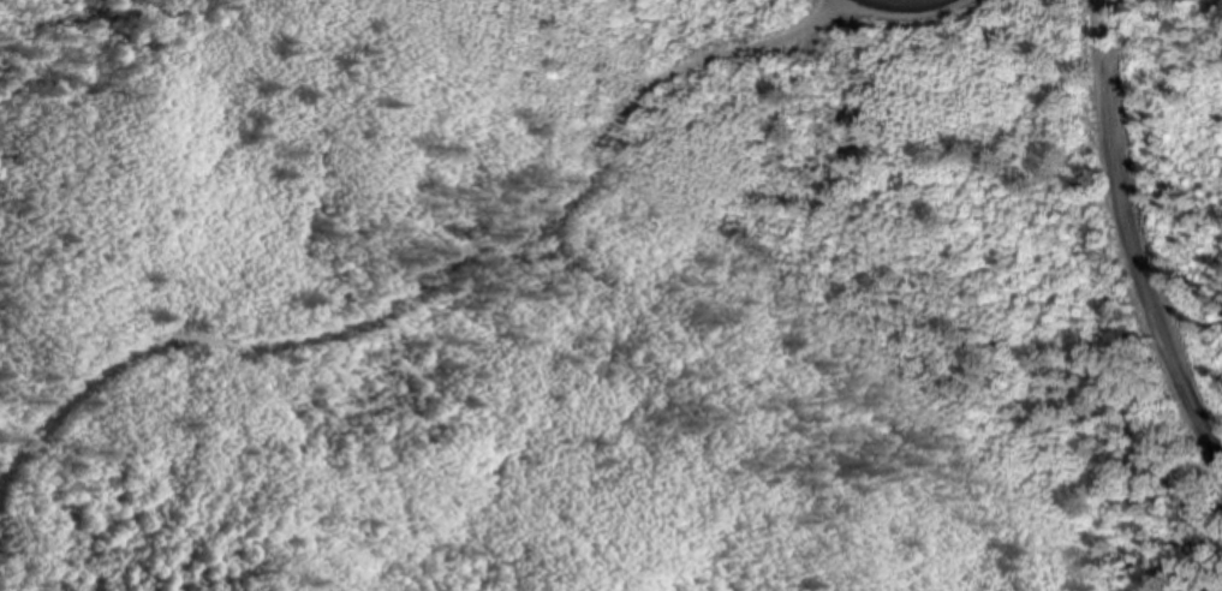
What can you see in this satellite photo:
road: (1140, 223)
road: (429, 271)

